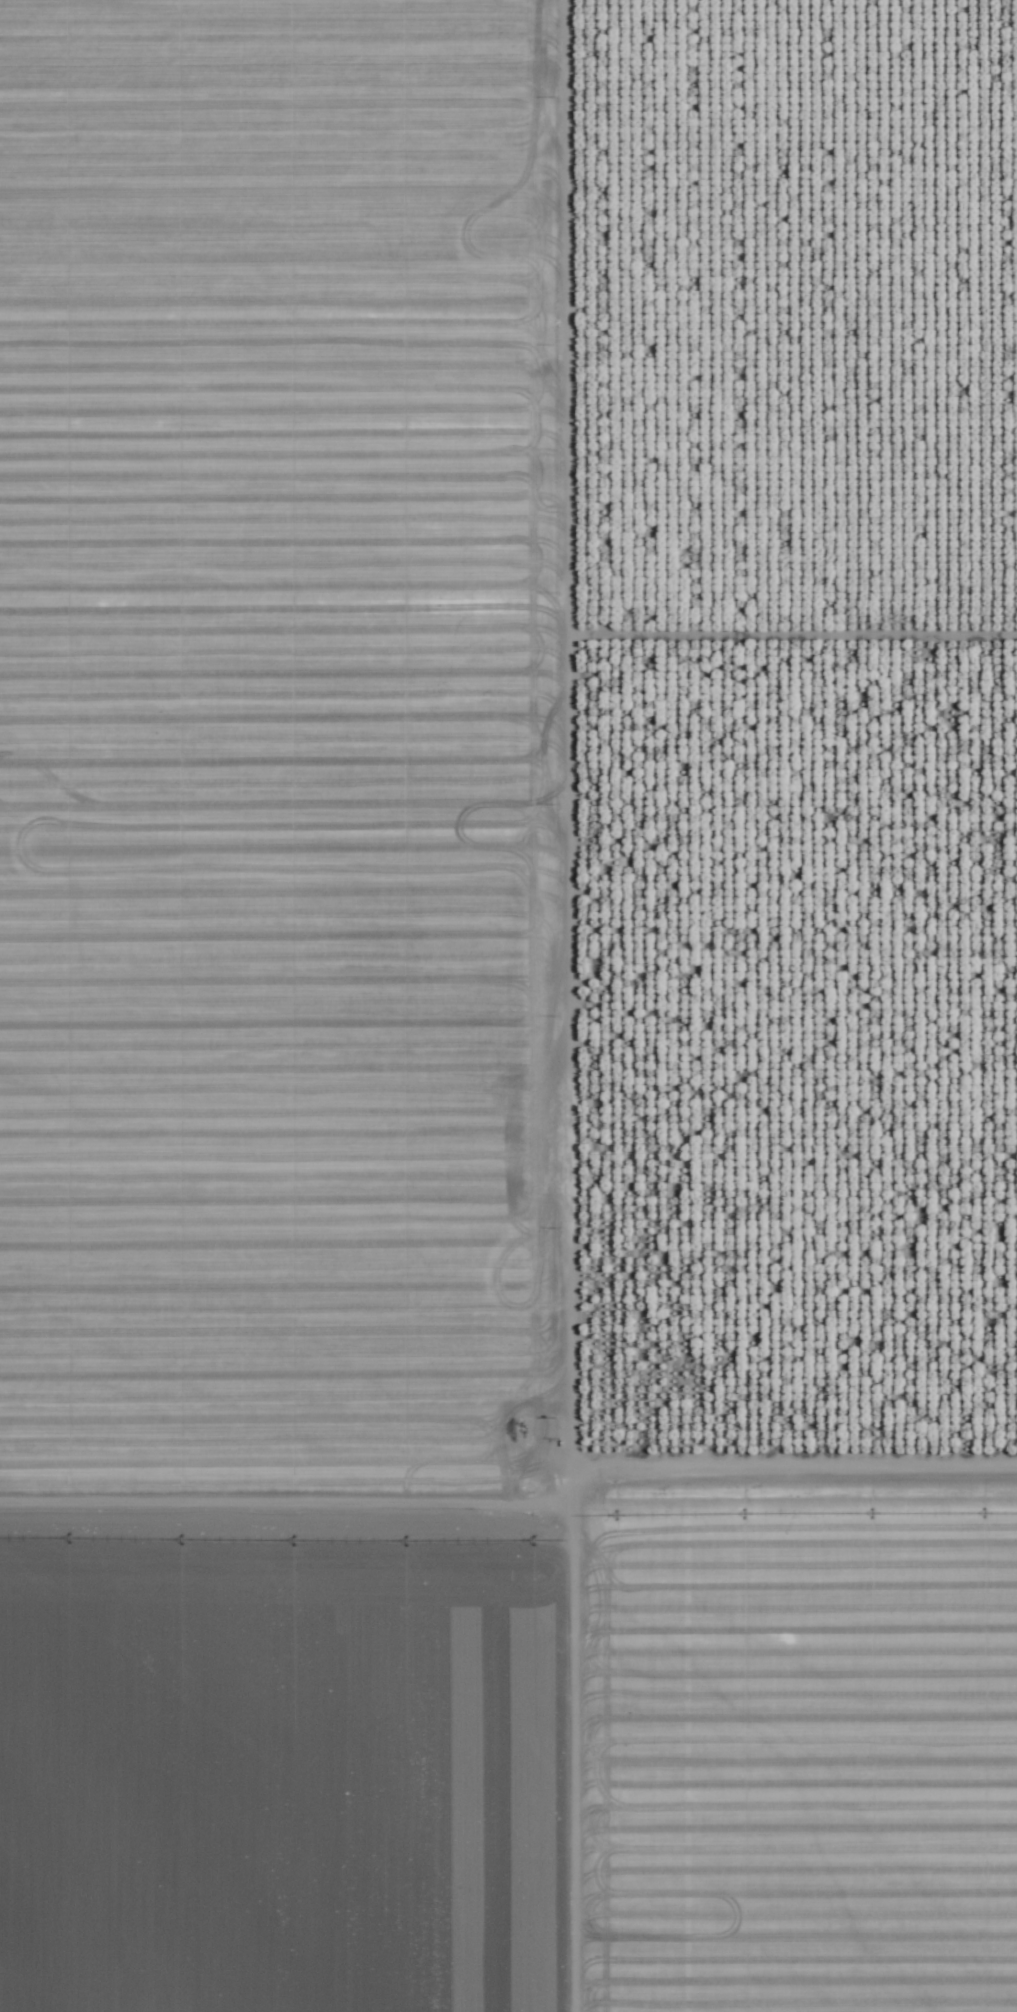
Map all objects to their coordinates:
crop: (508, 1006)
road: (539, 1006)
road: (778, 1439)

